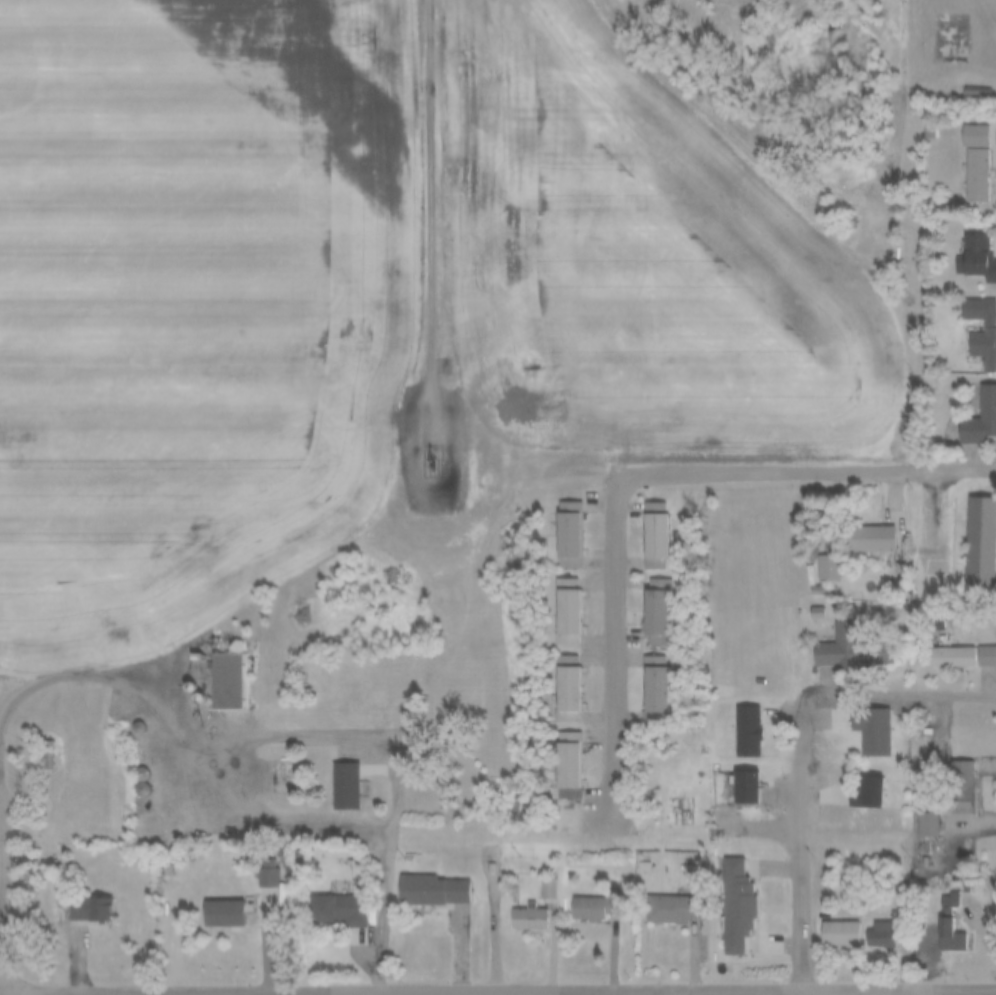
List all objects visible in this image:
building: (914, 122)
building: (961, 152)
building: (975, 161)
road: (433, 198)
storage tank: (882, 241)
building: (965, 249)
building: (971, 323)
building: (970, 405)
road: (640, 473)
building: (555, 524)
building: (640, 525)
building: (857, 528)
building: (966, 531)
building: (868, 538)
building: (651, 539)
building: (812, 557)
building: (826, 566)
building: (802, 580)
building: (552, 600)
building: (645, 600)
building: (802, 601)
building: (564, 611)
building: (836, 639)
building: (936, 645)
building: (973, 645)
building: (950, 656)
building: (213, 670)
building: (177, 676)
silo: (177, 676)
building: (552, 677)
building: (640, 678)
building: (231, 680)
building: (185, 687)
silo: (185, 687)
building: (562, 688)
road: (892, 691)
building: (124, 716)
silo: (124, 716)
building: (857, 719)
building: (733, 720)
building: (912, 720)
road: (301, 725)
storage tank: (270, 746)
building: (554, 756)
building: (127, 763)
silo: (127, 763)
building: (332, 775)
building: (946, 776)
building: (733, 777)
building: (128, 778)
silo: (128, 778)
building: (850, 781)
building: (146, 782)
building: (350, 786)
road: (1, 790)
road: (965, 791)
building: (913, 813)
road: (275, 818)
building: (924, 824)
storage tank: (699, 838)
building: (908, 838)
road: (5, 839)
building: (661, 840)
storage tank: (396, 841)
building: (254, 866)
building: (534, 877)
building: (270, 878)
building: (418, 879)
building: (546, 888)
road: (496, 890)
building: (440, 892)
building: (138, 894)
building: (722, 895)
building: (576, 896)
building: (78, 897)
building: (658, 898)
building: (324, 899)
building: (210, 903)
building: (514, 906)
building: (584, 908)
building: (669, 909)
building: (95, 910)
building: (343, 911)
building: (232, 915)
building: (527, 919)
building: (826, 923)
building: (866, 924)
building: (935, 925)
building: (836, 934)
building: (879, 936)
building: (948, 936)
storage tank: (699, 944)
road: (72, 994)
road: (870, 994)

